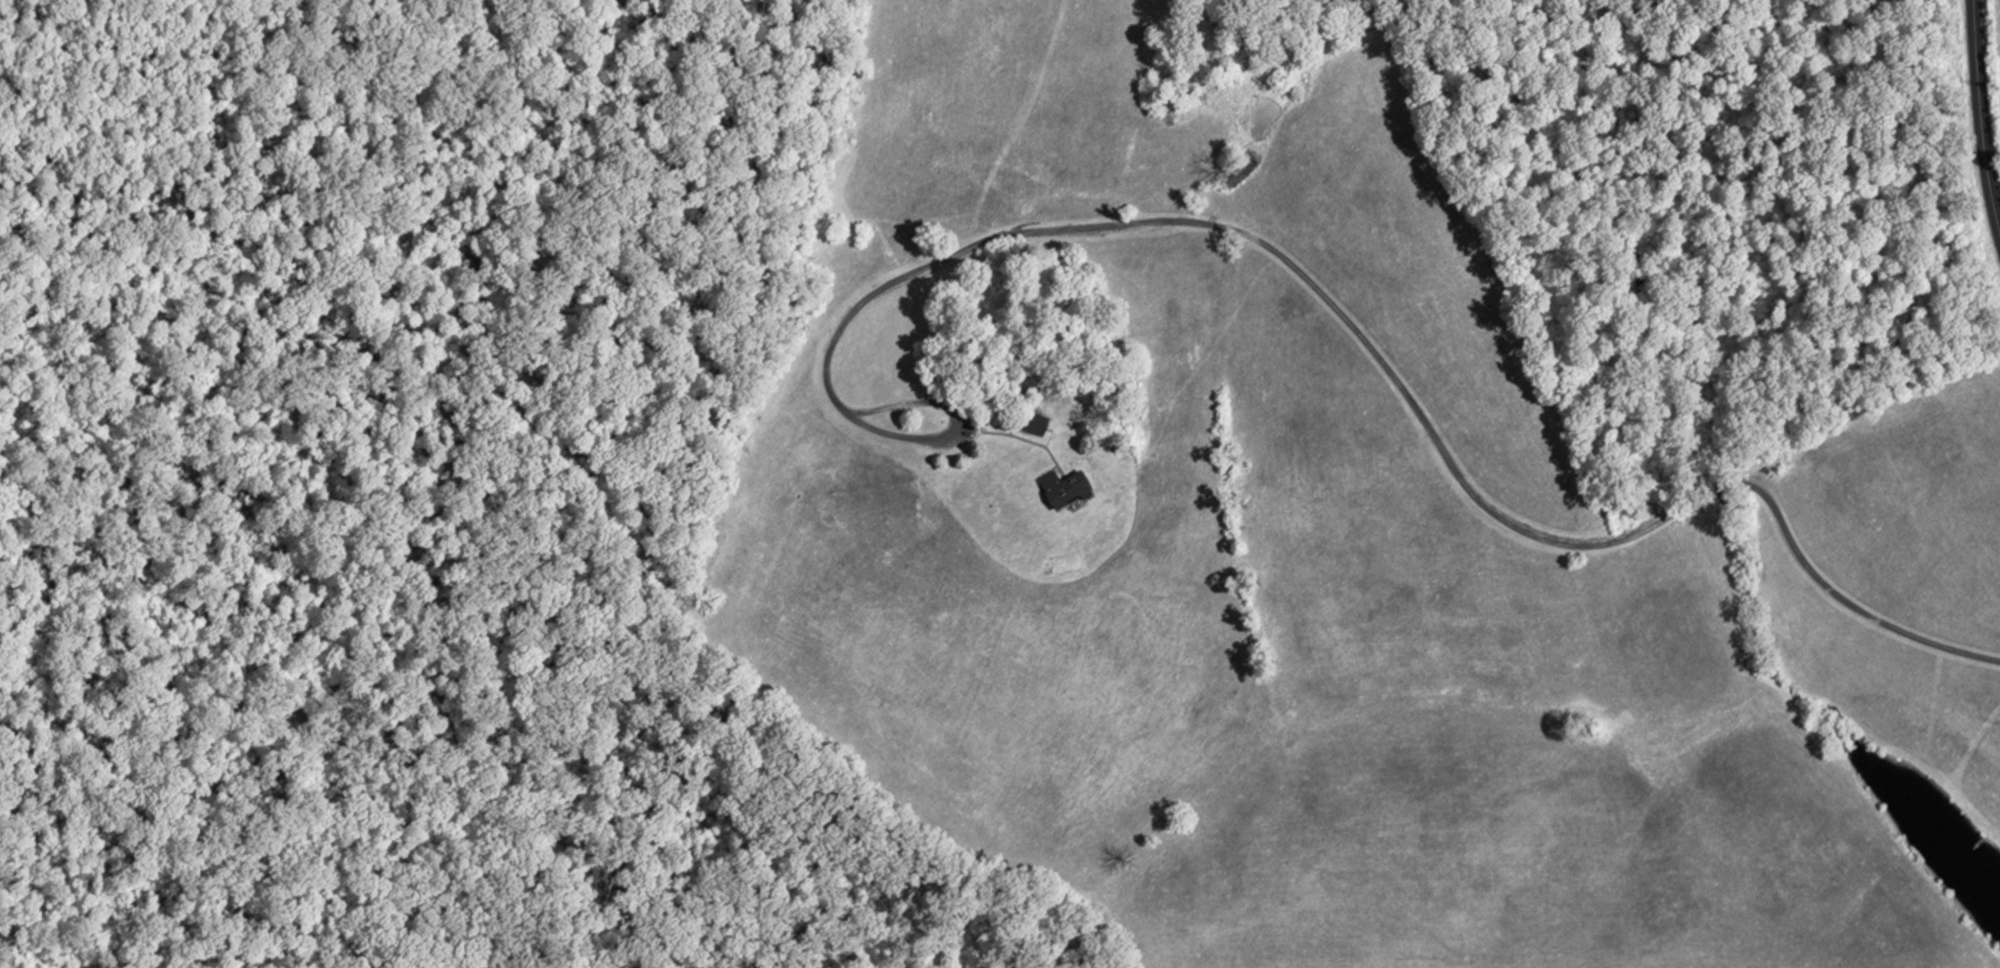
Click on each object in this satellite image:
road: (1979, 126)
road: (1401, 377)
building: (1041, 423)
road: (953, 424)
building: (1074, 488)

